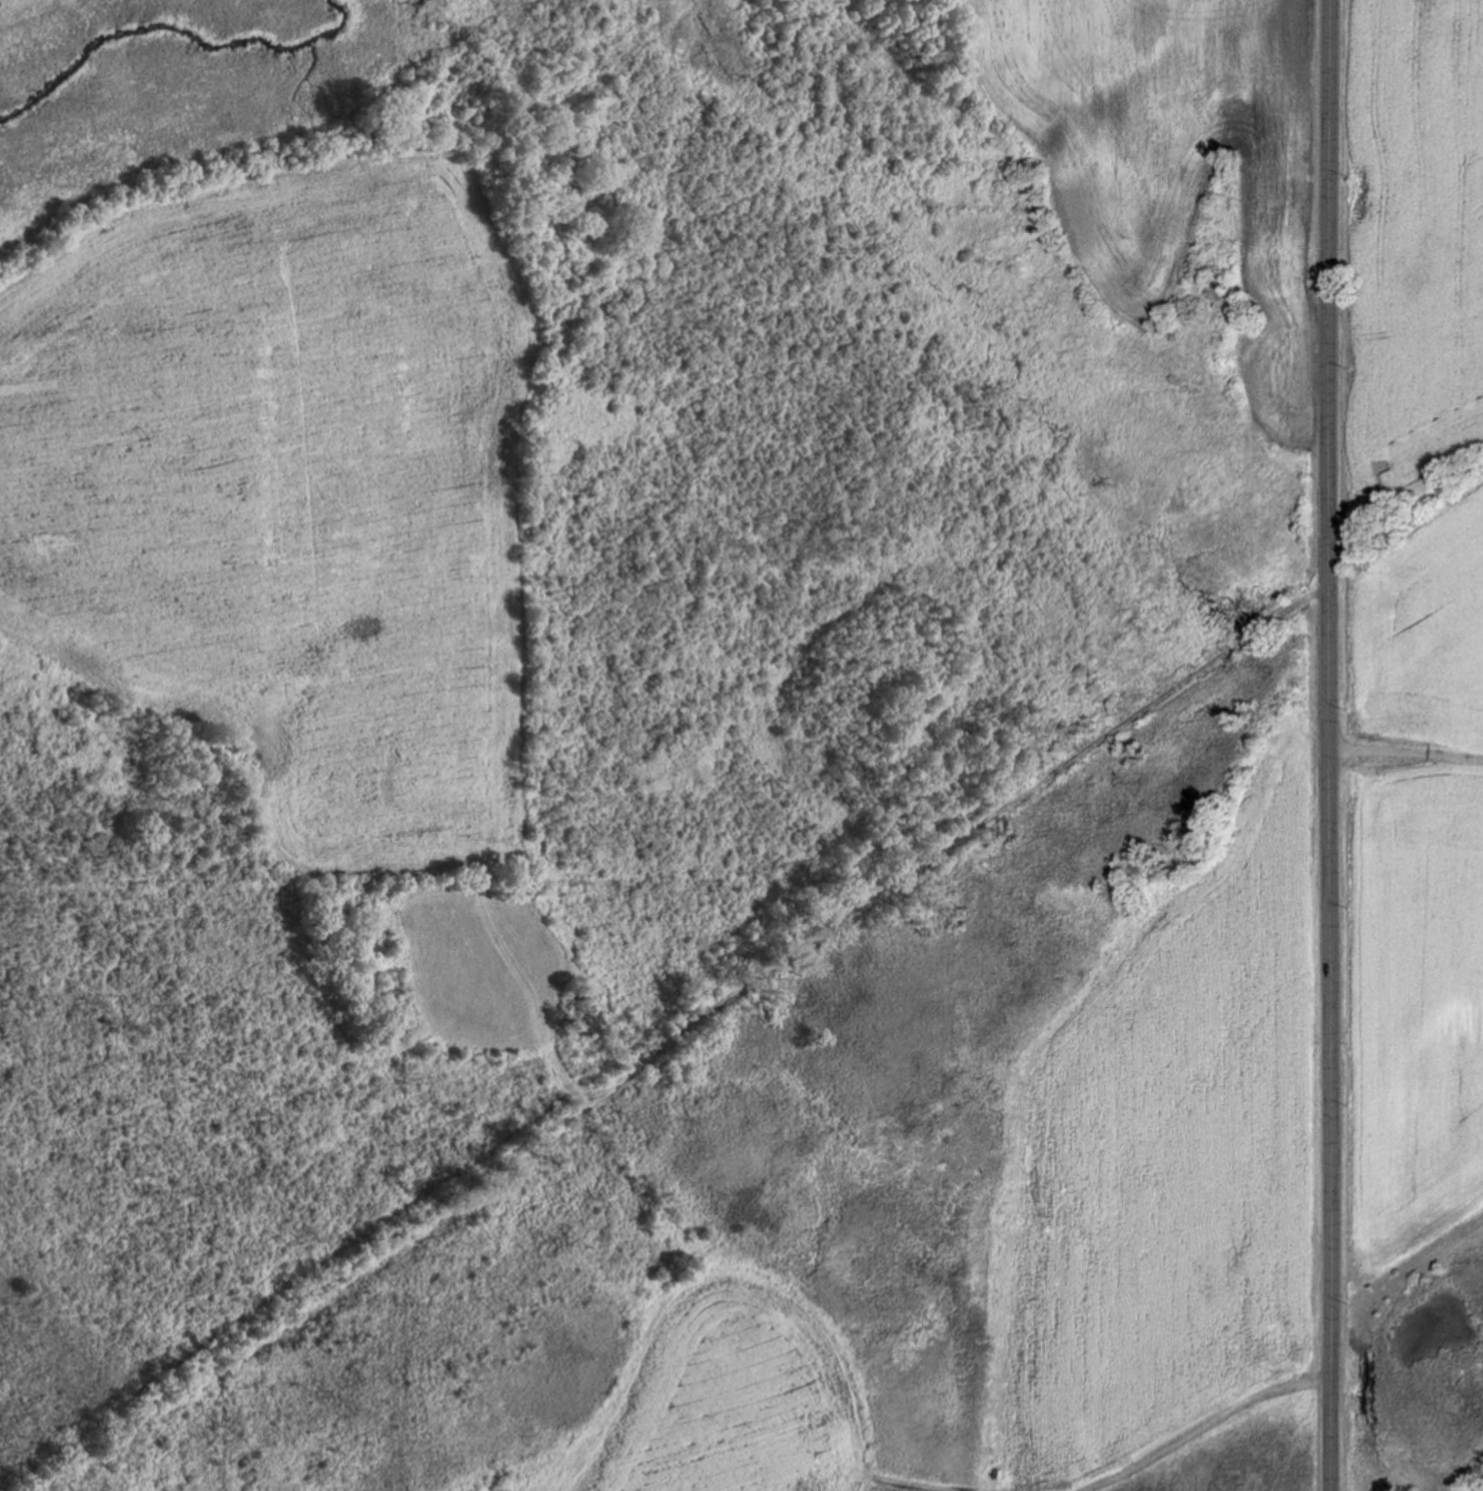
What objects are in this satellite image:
road: (1334, 745)
road: (1409, 753)

